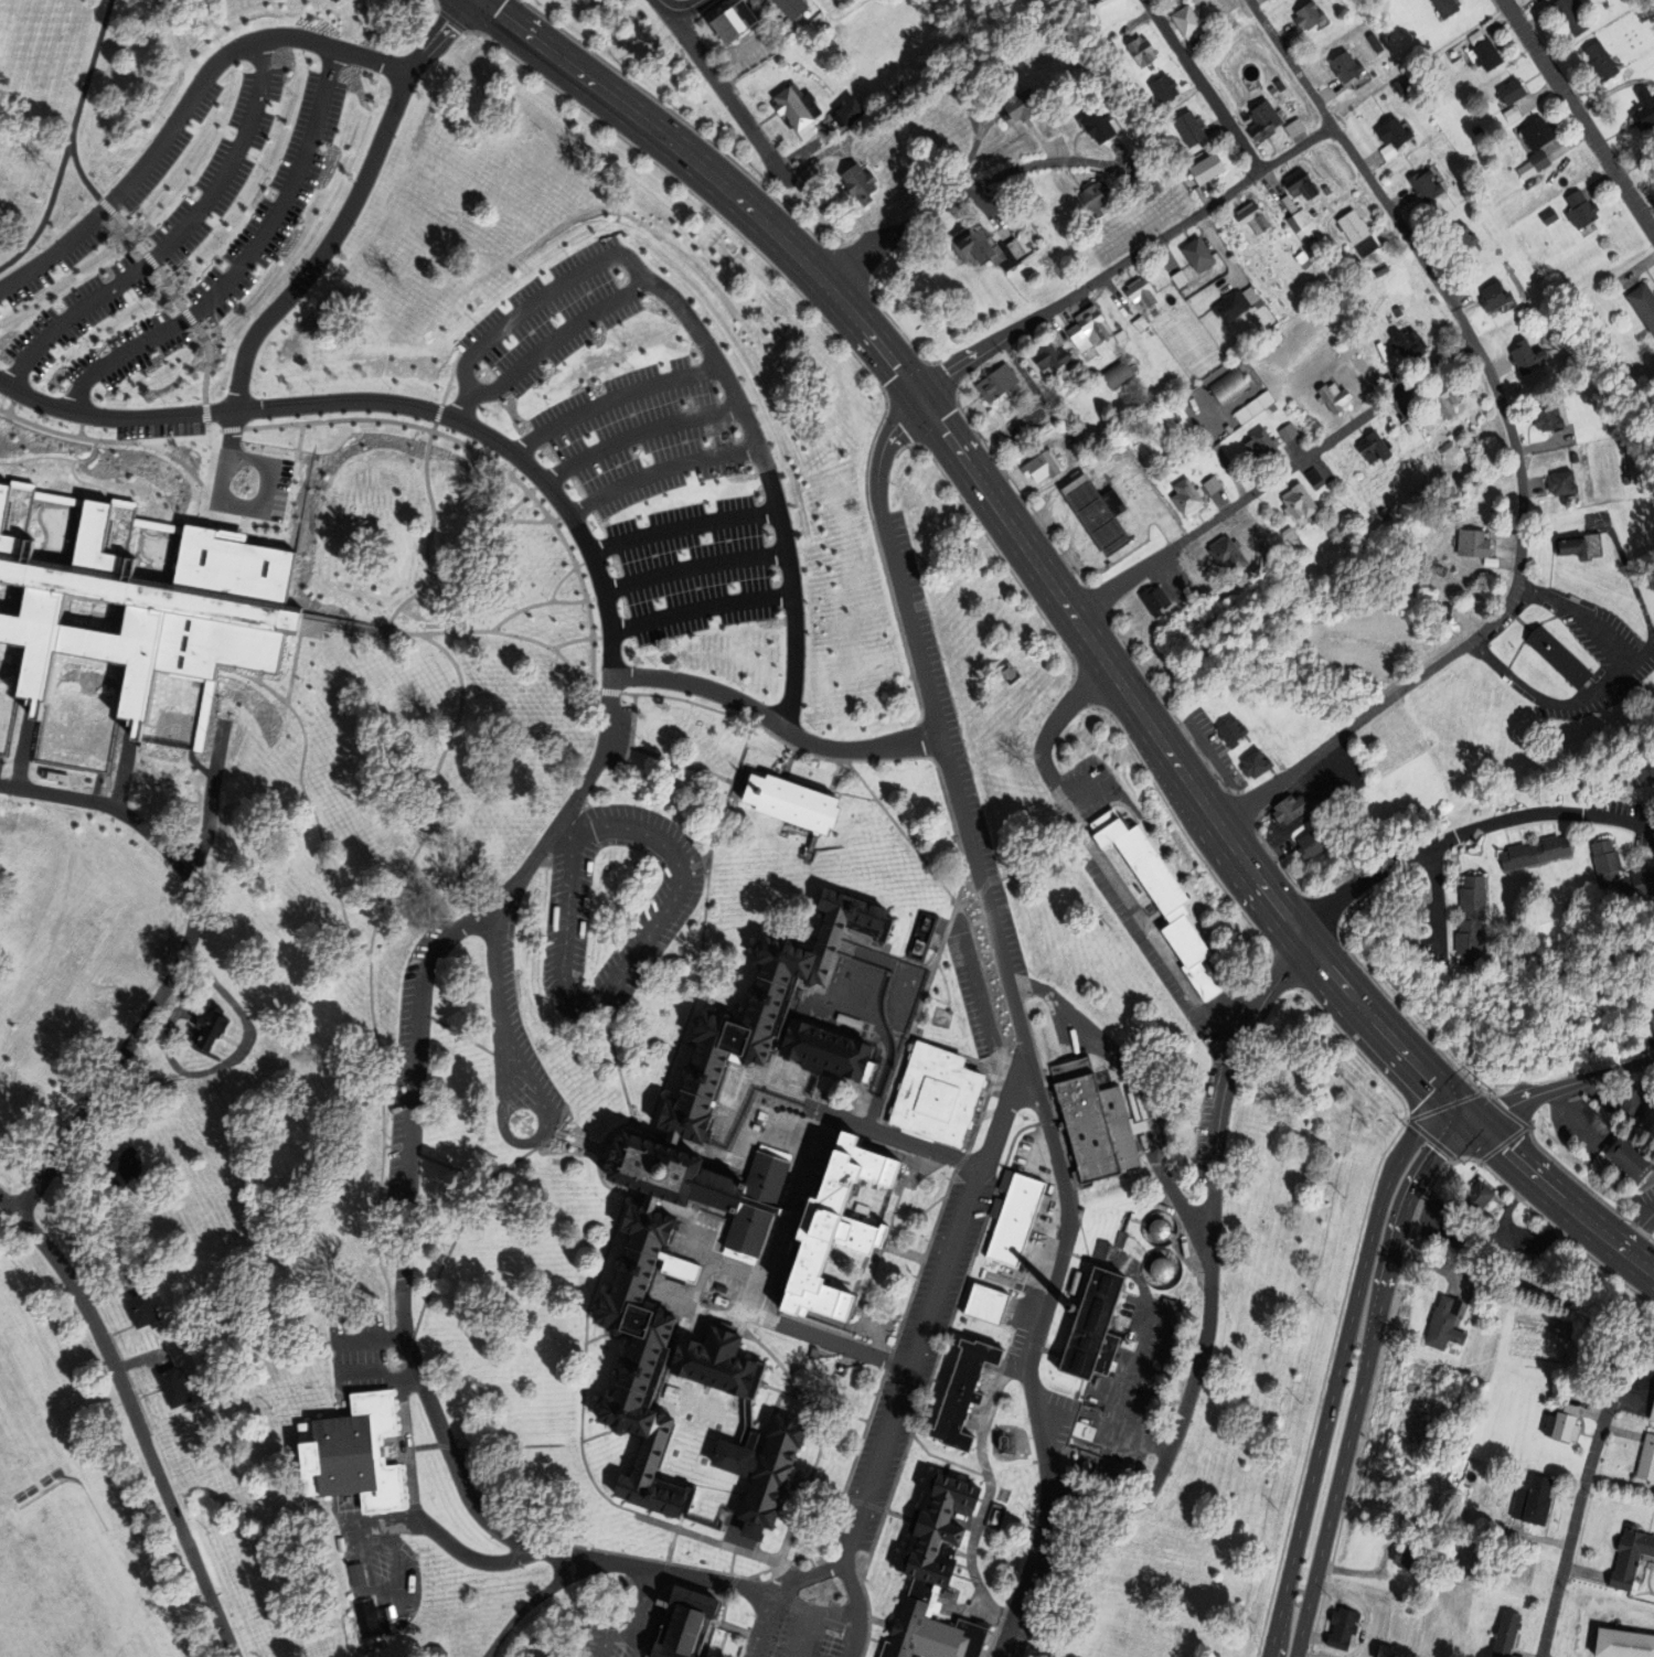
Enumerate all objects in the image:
road: (701, 1)
road: (664, 4)
building: (1449, 7)
building: (792, 8)
building: (218, 10)
road: (684, 10)
building: (1573, 14)
building: (1305, 15)
building: (737, 19)
building: (1181, 22)
road: (525, 35)
building: (1106, 35)
road: (436, 36)
building: (1479, 36)
building: (1140, 51)
building: (1490, 54)
building: (1603, 60)
building: (1342, 66)
building: (1276, 85)
road: (1202, 86)
building: (1159, 88)
building: (1395, 88)
building: (1515, 89)
road: (725, 92)
building: (1016, 101)
building: (1647, 106)
road: (81, 107)
building: (798, 108)
road: (184, 111)
building: (853, 111)
building: (1514, 113)
road: (1579, 117)
building: (1260, 120)
building: (1096, 125)
building: (1185, 129)
building: (1481, 130)
building: (1538, 133)
road: (660, 137)
building: (1388, 138)
building: (1543, 159)
building: (1201, 169)
building: (1528, 169)
building: (853, 182)
building: (1294, 183)
road: (979, 185)
building: (1422, 186)
building: (1323, 190)
building: (1092, 197)
building: (1581, 209)
road: (49, 211)
parking lot: (192, 211)
building: (1551, 216)
road: (118, 217)
building: (1250, 220)
building: (1298, 225)
building: (1492, 228)
building: (1354, 233)
road: (132, 236)
building: (1458, 236)
road: (175, 240)
building: (968, 244)
building: (1012, 248)
road: (1218, 252)
building: (1193, 254)
building: (1300, 259)
road: (1124, 260)
road: (151, 261)
road: (245, 263)
road: (311, 270)
building: (1175, 278)
road: (170, 290)
building: (1139, 291)
building: (1498, 296)
building: (1644, 301)
building: (1233, 303)
building: (602, 311)
building: (1394, 311)
parking lot: (0, 317)
road: (190, 319)
building: (1137, 323)
building: (1085, 329)
road: (558, 336)
building: (1118, 336)
building: (1405, 343)
road: (210, 352)
building: (1528, 355)
building: (1046, 357)
building: (451, 367)
road: (721, 368)
building: (1113, 373)
building: (993, 382)
building: (1227, 386)
traffic signals: (918, 395)
building: (1332, 397)
building: (1442, 400)
road: (613, 402)
road: (13, 404)
road: (385, 405)
road: (465, 406)
building: (1250, 406)
building: (754, 413)
building: (570, 416)
building: (1550, 418)
road: (377, 420)
building: (1155, 420)
road: (82, 426)
road: (639, 435)
building: (1260, 445)
building: (1370, 446)
building: (1447, 446)
road: (1516, 447)
building: (1576, 457)
road: (55, 459)
building: (1163, 459)
road: (177, 461)
road: (252, 462)
road: (427, 466)
building: (1039, 466)
road: (12, 472)
road: (662, 472)
building: (1315, 475)
parking lot: (630, 480)
road: (1272, 480)
building: (1565, 482)
road: (88, 484)
road: (509, 489)
building: (711, 494)
building: (1183, 496)
road: (522, 502)
building: (1301, 502)
building: (1093, 512)
gas station: (1093, 512)
road: (221, 520)
road: (684, 527)
building: (1291, 534)
road: (1020, 543)
building: (1476, 543)
building: (1577, 545)
building: (1229, 553)
building: (1493, 562)
building: (1431, 566)
road: (696, 570)
road: (567, 576)
road: (1634, 597)
building: (1152, 599)
road: (545, 605)
road: (701, 608)
building: (151, 609)
road: (907, 611)
building: (554, 614)
building: (94, 621)
building: (803, 631)
road: (385, 635)
road: (600, 639)
road: (569, 643)
building: (1558, 655)
road: (295, 665)
road: (260, 675)
road: (1604, 692)
road: (609, 707)
road: (736, 716)
road: (777, 724)
building: (1236, 733)
road: (633, 736)
road: (744, 753)
building: (1257, 763)
road: (789, 765)
building: (1645, 767)
road: (690, 768)
road: (438, 770)
building: (56, 778)
road: (796, 782)
road: (306, 794)
building: (794, 804)
building: (1291, 806)
road: (572, 826)
building: (139, 843)
building: (1313, 844)
building: (1528, 844)
road: (1102, 863)
building: (1611, 867)
road: (1434, 891)
building: (1163, 898)
building: (1463, 911)
building: (158, 945)
road: (181, 959)
road: (493, 970)
road: (622, 971)
building: (102, 995)
road: (1370, 1011)
building: (210, 1025)
building: (1651, 1027)
building: (833, 1048)
building: (53, 1062)
road: (382, 1073)
road: (1148, 1080)
road: (1561, 1087)
building: (941, 1093)
building: (1634, 1101)
building: (4, 1116)
traffic signals: (1472, 1120)
building: (1092, 1121)
road: (529, 1143)
road: (408, 1154)
building: (1633, 1157)
building: (124, 1166)
building: (703, 1183)
road: (1431, 1186)
building: (1479, 1198)
road: (1560, 1199)
building: (760, 1204)
road: (1536, 1212)
building: (1018, 1214)
road: (790, 1217)
building: (836, 1229)
building: (1160, 1229)
storage tank: (1160, 1229)
road: (1064, 1246)
building: (1482, 1251)
road: (1212, 1263)
building: (1164, 1269)
storage tank: (1164, 1269)
road: (1607, 1270)
building: (991, 1303)
road: (928, 1307)
chimney: (1070, 1307)
building: (143, 1309)
building: (1448, 1324)
building: (1093, 1326)
road: (897, 1337)
road: (370, 1340)
building: (723, 1364)
road: (1340, 1365)
road: (378, 1372)
road: (1363, 1377)
building: (174, 1386)
building: (965, 1392)
building: (1408, 1407)
building: (1653, 1415)
road: (136, 1417)
building: (1564, 1424)
building: (1080, 1431)
road: (517, 1447)
building: (356, 1455)
building: (1648, 1460)
building: (768, 1469)
building: (1465, 1490)
building: (1372, 1493)
building: (1535, 1500)
building: (997, 1517)
building: (1412, 1519)
road: (1571, 1530)
road: (442, 1536)
building: (1413, 1554)
building: (1633, 1557)
road: (812, 1574)
building: (940, 1574)
road: (675, 1578)
road: (851, 1593)
road: (526, 1606)
road: (805, 1611)
building: (364, 1618)
building: (685, 1623)
road: (759, 1625)
building: (1345, 1628)
building: (1506, 1634)
road: (804, 1635)
road: (846, 1642)
building: (1623, 1644)
building: (1381, 1650)
building: (1233, 1651)
building: (1390, 1651)

